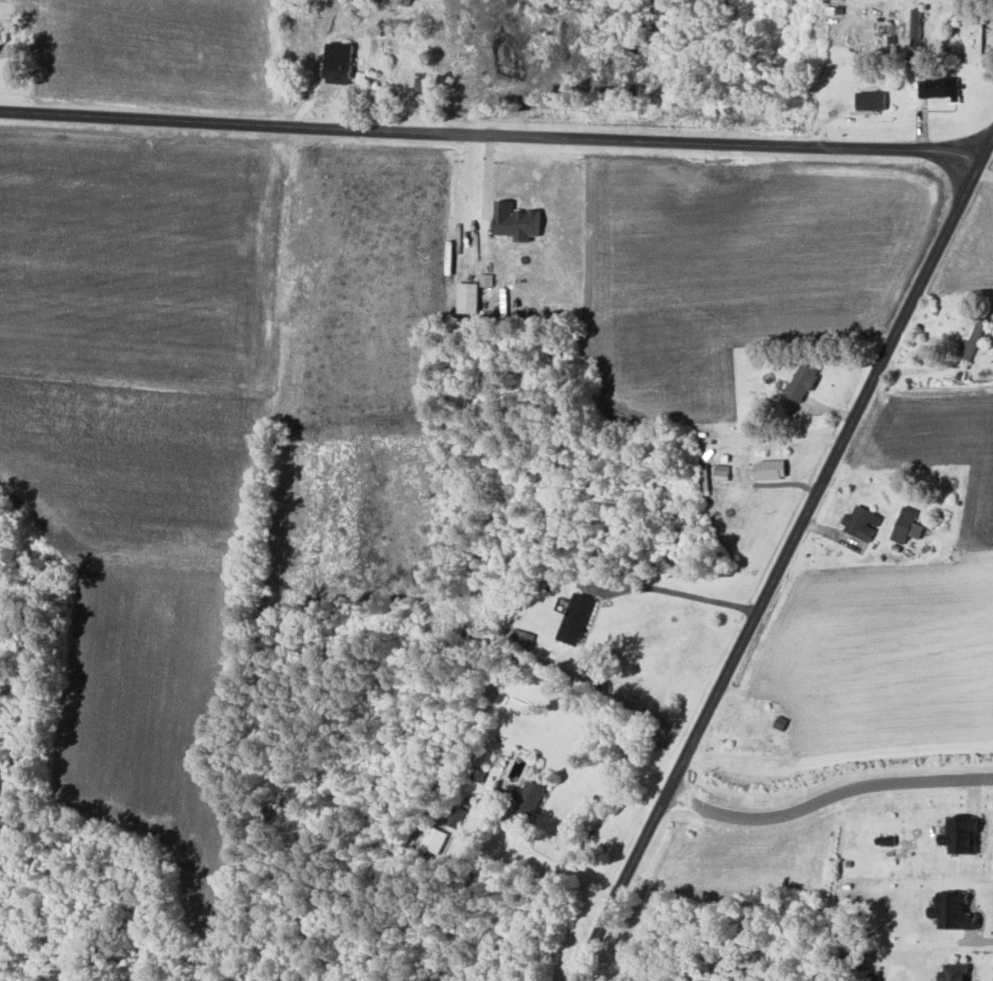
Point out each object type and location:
road: (970, 9)
building: (916, 27)
building: (340, 63)
building: (939, 87)
building: (871, 100)
road: (491, 138)
building: (517, 221)
building: (468, 297)
building: (803, 382)
building: (770, 470)
building: (722, 472)
building: (862, 522)
building: (907, 526)
road: (785, 559)
road: (678, 593)
building: (575, 618)
road: (839, 764)
road: (827, 797)
building: (525, 803)
building: (963, 835)
building: (436, 840)
road: (560, 868)
building: (954, 912)
building: (955, 972)

